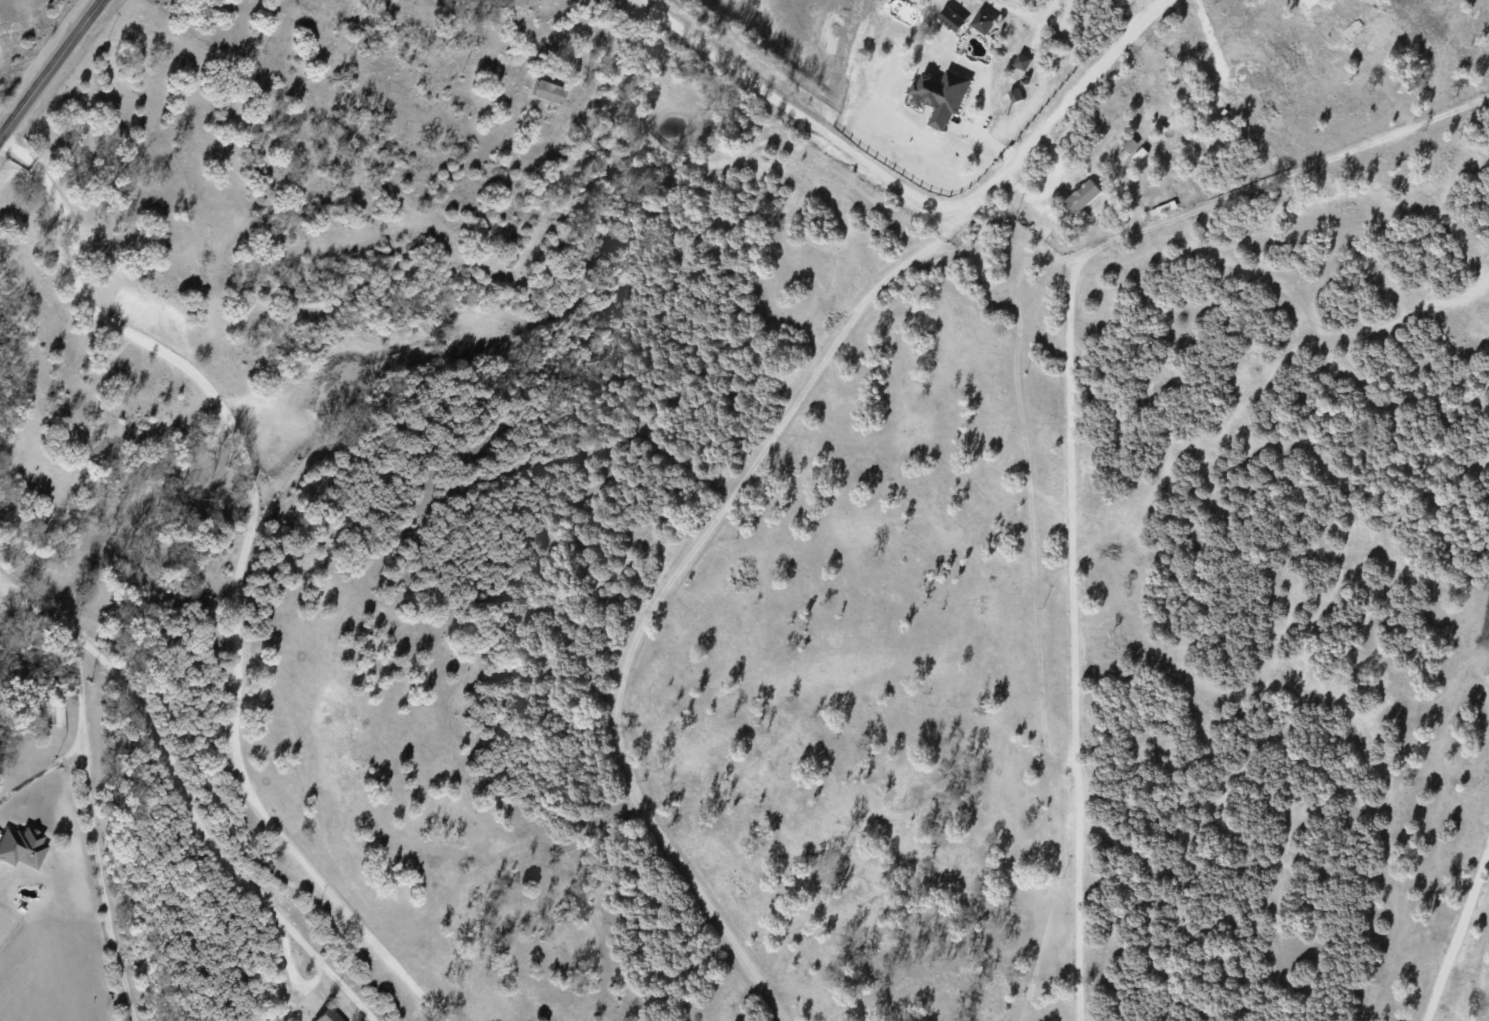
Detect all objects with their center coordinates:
building: (951, 19)
building: (982, 20)
building: (1022, 61)
road: (49, 69)
building: (548, 91)
building: (940, 94)
building: (1016, 94)
road: (0, 136)
building: (1127, 146)
building: (1139, 153)
road: (919, 192)
building: (1082, 195)
building: (58, 715)
road: (187, 799)
road: (107, 830)
building: (21, 846)
building: (326, 1015)

